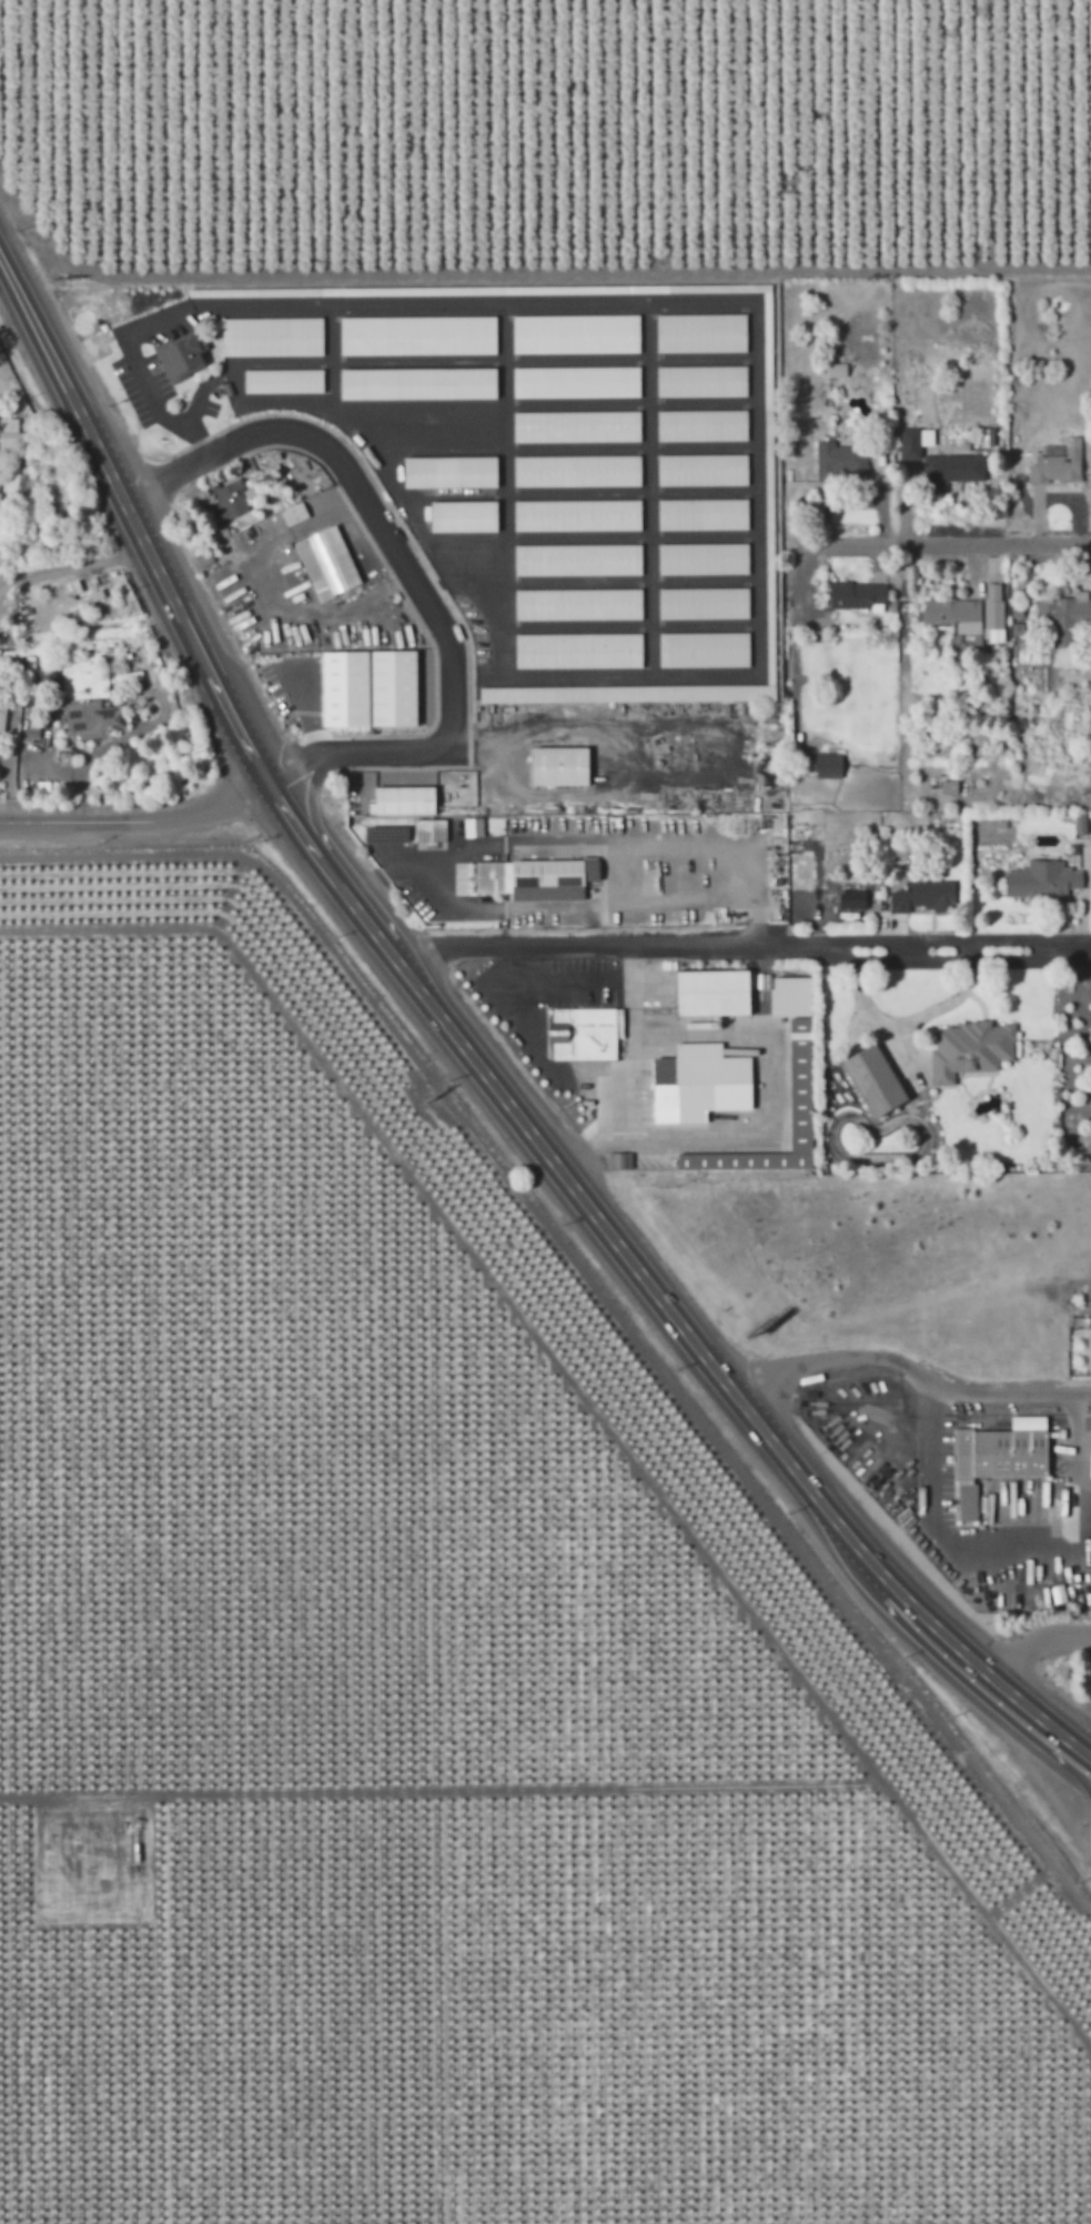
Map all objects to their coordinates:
building: (701, 332)
building: (575, 334)
building: (417, 335)
building: (272, 336)
building: (180, 356)
building: (836, 370)
building: (283, 381)
building: (701, 381)
building: (576, 382)
building: (417, 383)
building: (703, 425)
building: (577, 426)
building: (10, 432)
building: (938, 459)
building: (840, 461)
building: (1058, 466)
building: (703, 470)
building: (577, 471)
building: (451, 472)
building: (230, 500)
building: (294, 514)
building: (703, 514)
building: (577, 515)
building: (464, 516)
road: (1012, 541)
building: (323, 557)
building: (704, 558)
building: (577, 560)
road: (71, 567)
road: (407, 571)
building: (858, 595)
building: (704, 603)
building: (578, 604)
building: (993, 612)
building: (954, 614)
building: (1065, 617)
building: (704, 650)
building: (578, 651)
building: (388, 683)
building: (309, 693)
building: (627, 694)
building: (91, 719)
building: (822, 765)
building: (560, 766)
building: (949, 787)
building: (401, 796)
road: (134, 816)
building: (1080, 824)
building: (524, 825)
building: (473, 827)
building: (536, 878)
building: (1043, 879)
building: (925, 896)
building: (852, 899)
road: (740, 938)
building: (713, 993)
building: (585, 1034)
building: (970, 1049)
road: (474, 1060)
building: (875, 1081)
building: (699, 1084)
building: (800, 1084)
building: (614, 1161)
building: (1089, 1348)
road: (908, 1362)
building: (994, 1462)
road: (1036, 1643)

